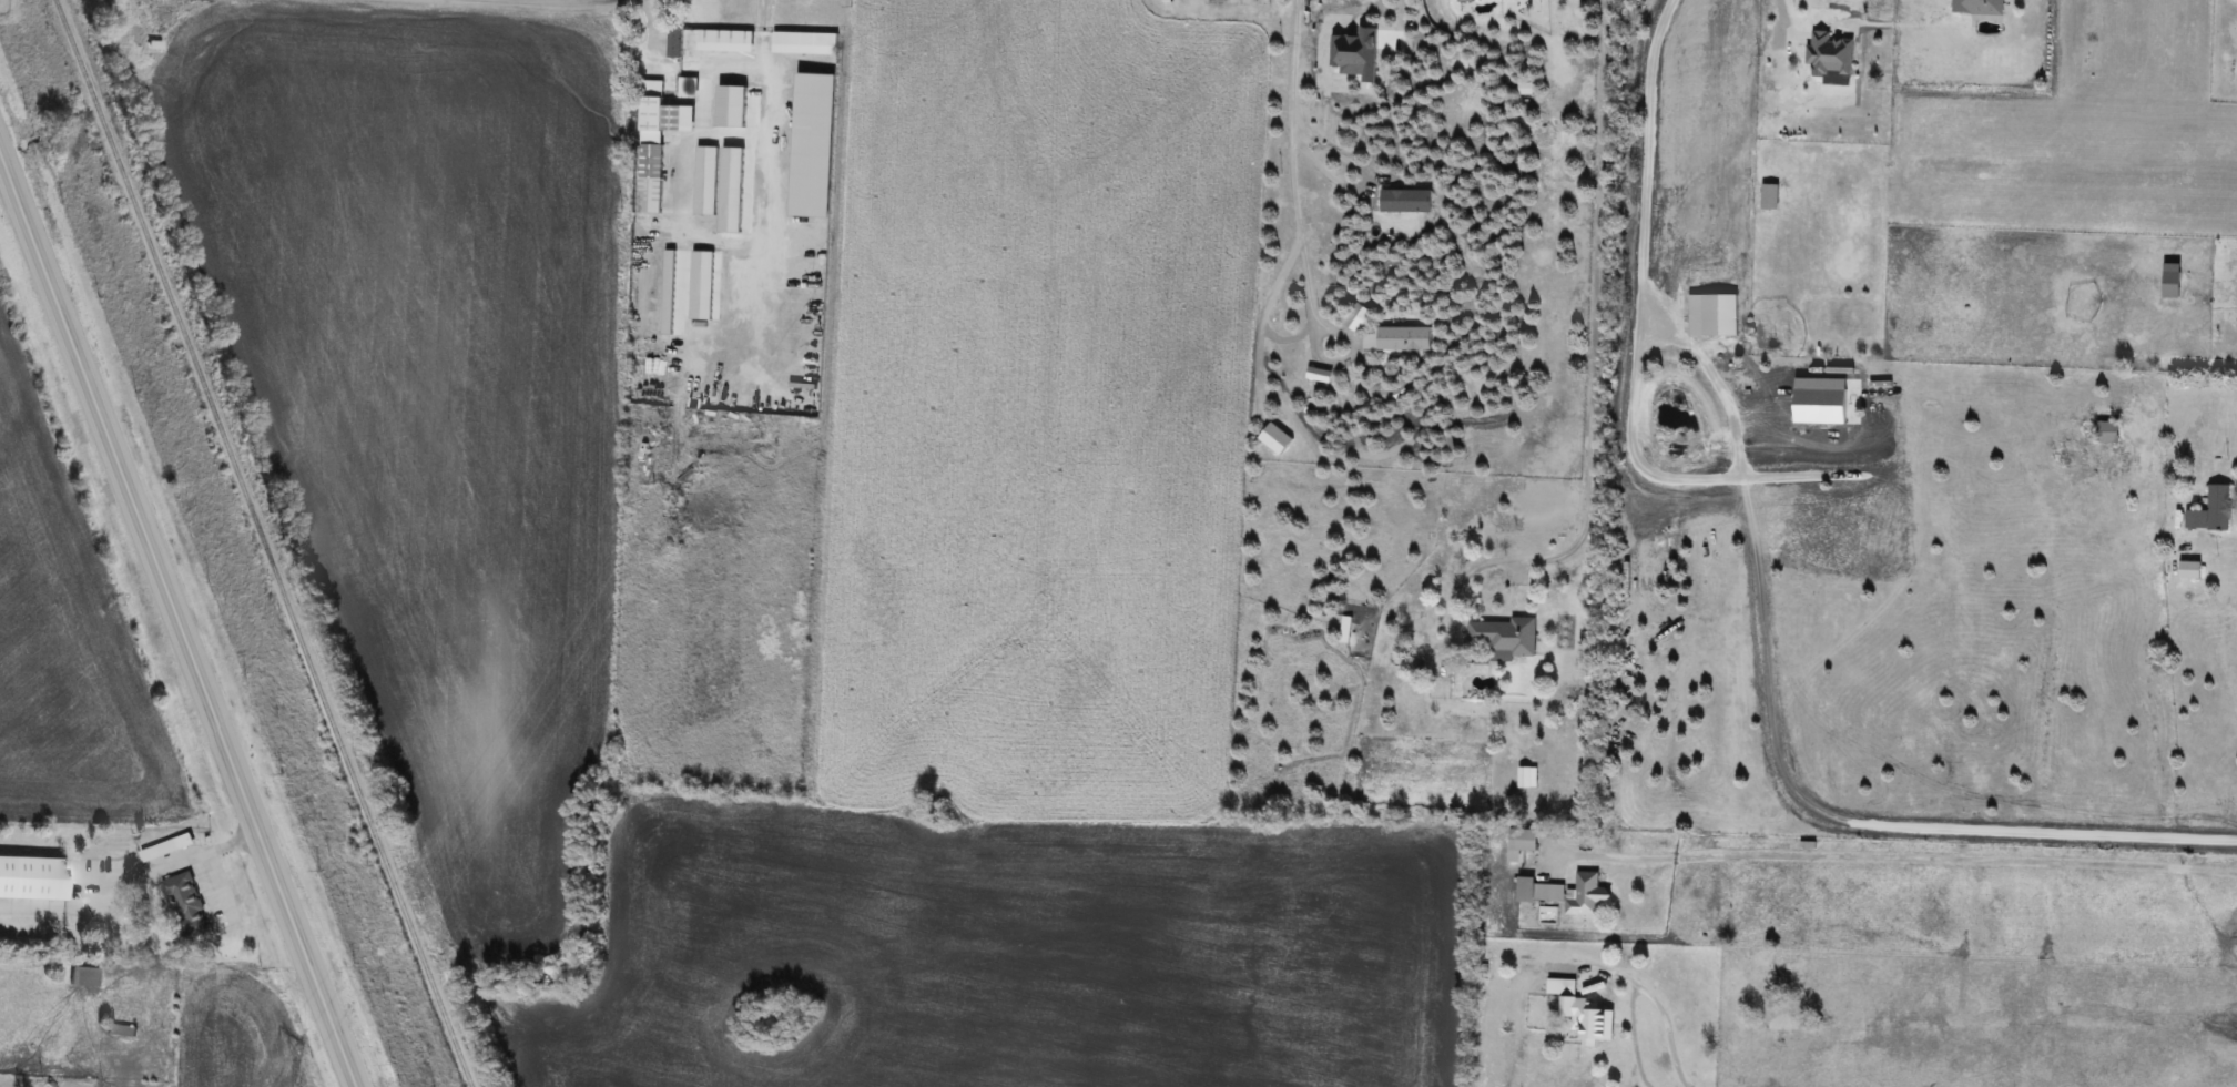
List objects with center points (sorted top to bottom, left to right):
road: (501, 0)
road: (548, 3)
building: (1977, 7)
road: (1780, 12)
building: (720, 37)
building: (804, 39)
building: (673, 42)
building: (1829, 54)
road: (726, 65)
building: (660, 136)
road: (1335, 144)
road: (1641, 144)
road: (1288, 163)
building: (1769, 196)
building: (2172, 280)
building: (1763, 334)
road: (1589, 358)
building: (2106, 430)
building: (2211, 510)
road: (2225, 541)
railway: (263, 543)
power tower: (675, 543)
building: (2189, 569)
road: (179, 616)
building: (1504, 636)
road: (2216, 718)
building: (1522, 841)
road: (1898, 859)
building: (31, 876)
road: (131, 882)
building: (1566, 892)
building: (184, 905)
building: (82, 975)
road: (1641, 988)
building: (1587, 1018)
building: (122, 1029)

